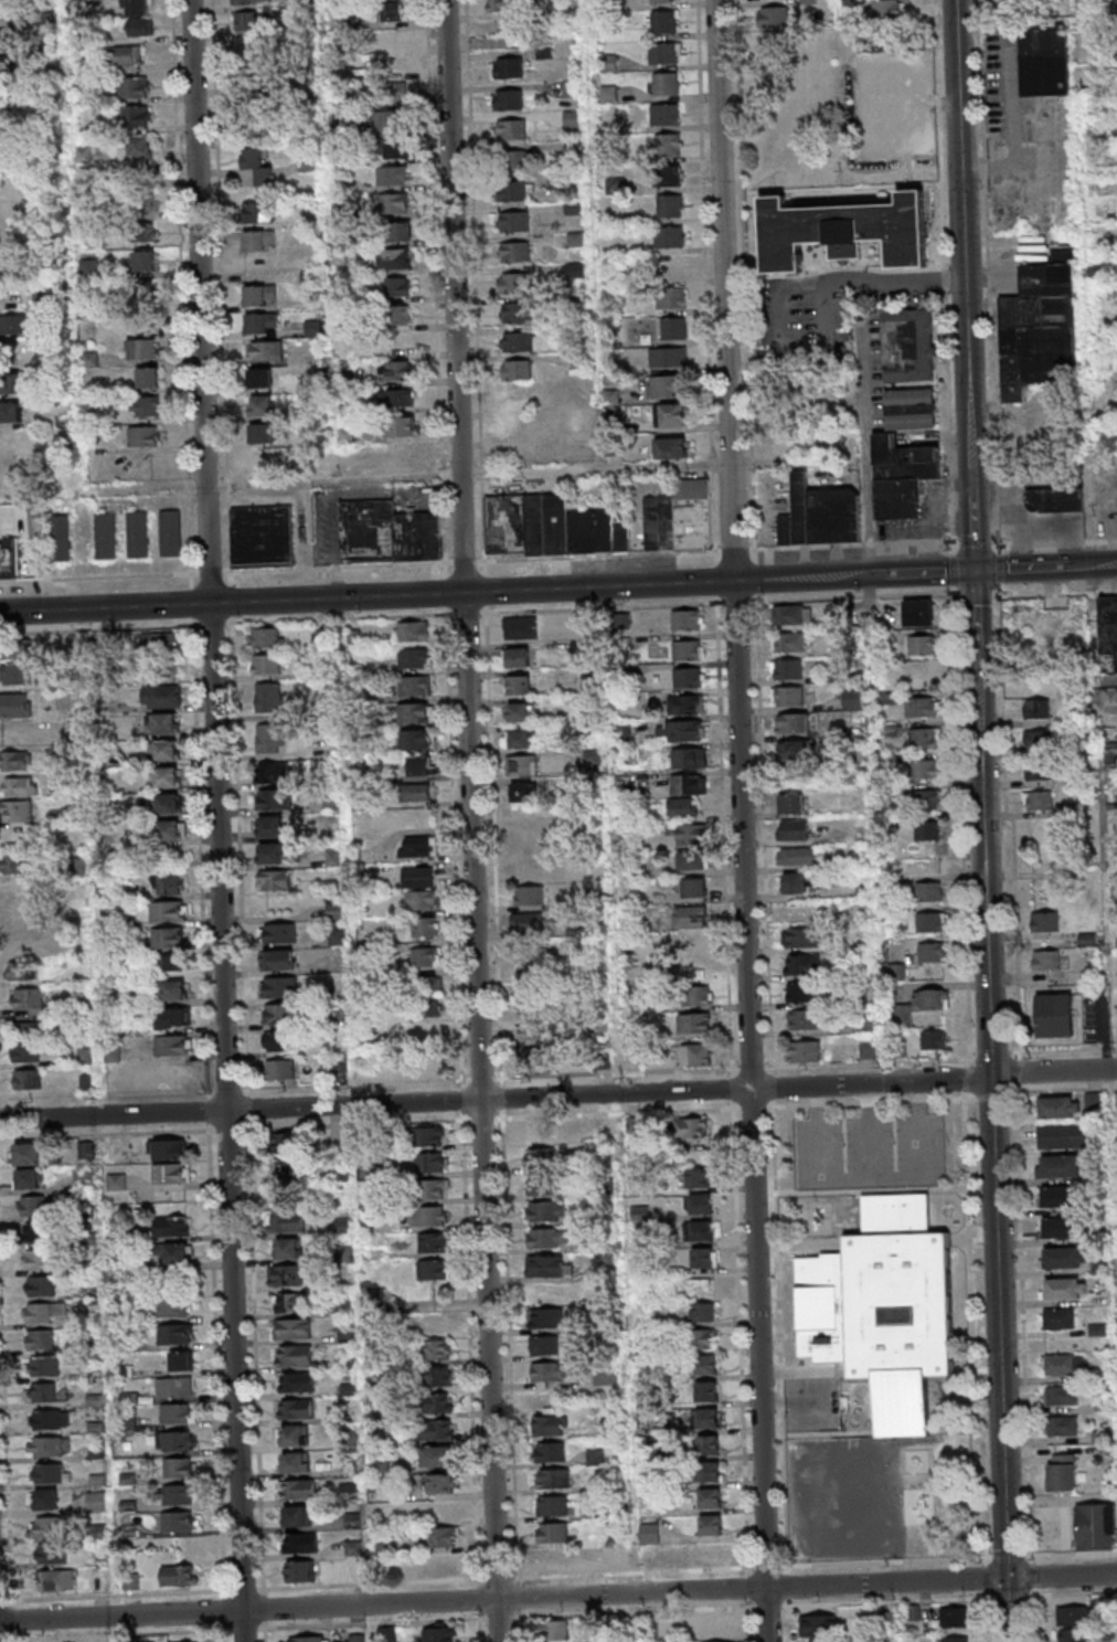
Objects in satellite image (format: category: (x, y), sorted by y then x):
building: (251, 1)
building: (661, 1)
building: (504, 4)
building: (137, 7)
building: (10, 10)
building: (889, 10)
building: (390, 11)
building: (773, 15)
building: (663, 21)
building: (248, 22)
building: (141, 27)
building: (12, 38)
building: (666, 52)
building: (126, 55)
building: (1044, 59)
building: (507, 66)
building: (11, 67)
building: (394, 67)
building: (666, 83)
building: (134, 87)
building: (256, 87)
building: (394, 91)
building: (609, 93)
building: (507, 98)
building: (667, 114)
building: (134, 117)
building: (390, 121)
building: (512, 128)
building: (259, 129)
building: (668, 145)
building: (138, 147)
building: (391, 149)
building: (518, 159)
building: (258, 167)
building: (669, 174)
building: (392, 177)
building: (515, 190)
building: (141, 199)
building: (393, 203)
building: (669, 204)
building: (259, 212)
building: (512, 220)
building: (844, 230)
building: (143, 231)
building: (400, 231)
building: (670, 235)
building: (258, 240)
building: (514, 251)
building: (394, 257)
building: (145, 262)
road: (921, 276)
building: (514, 282)
road: (224, 285)
road: (965, 285)
building: (397, 286)
building: (143, 290)
building: (260, 295)
building: (671, 296)
road: (185, 307)
building: (515, 311)
building: (401, 315)
building: (260, 324)
building: (13, 326)
building: (1041, 326)
building: (672, 327)
building: (517, 340)
building: (398, 342)
building: (908, 345)
building: (143, 350)
building: (266, 351)
building: (668, 357)
road: (808, 357)
building: (515, 369)
building: (398, 370)
building: (148, 378)
building: (260, 378)
building: (10, 383)
building: (664, 385)
building: (396, 398)
building: (262, 405)
building: (147, 406)
building: (909, 407)
building: (10, 412)
building: (673, 413)
building: (402, 426)
building: (262, 433)
building: (143, 436)
building: (788, 443)
building: (670, 447)
building: (901, 475)
building: (11, 476)
road: (435, 477)
building: (1054, 499)
building: (820, 513)
building: (680, 517)
building: (551, 526)
building: (387, 532)
building: (170, 533)
building: (138, 534)
building: (105, 536)
building: (263, 537)
building: (60, 538)
road: (1057, 541)
building: (6, 562)
road: (344, 566)
road: (1045, 568)
road: (1000, 570)
traffic signals: (974, 571)
road: (857, 575)
road: (478, 592)
road: (1060, 593)
road: (107, 607)
building: (917, 612)
building: (791, 613)
building: (688, 618)
building: (1108, 625)
building: (520, 627)
road: (124, 628)
building: (414, 631)
building: (265, 638)
building: (789, 642)
building: (922, 644)
building: (689, 648)
building: (159, 655)
building: (517, 656)
building: (414, 657)
building: (265, 665)
building: (787, 669)
building: (15, 674)
building: (689, 676)
building: (923, 676)
building: (414, 685)
building: (519, 685)
building: (788, 696)
building: (162, 698)
building: (268, 698)
building: (852, 698)
building: (1108, 699)
building: (68, 700)
building: (685, 703)
building: (15, 705)
building: (923, 707)
building: (1036, 708)
building: (519, 711)
building: (416, 712)
building: (792, 722)
building: (162, 724)
building: (681, 730)
building: (520, 738)
building: (925, 738)
building: (416, 739)
building: (1040, 739)
building: (269, 740)
building: (795, 749)
building: (166, 750)
building: (1110, 752)
building: (689, 756)
building: (593, 758)
building: (14, 760)
building: (419, 764)
building: (521, 765)
building: (924, 767)
building: (1041, 771)
building: (274, 774)
building: (164, 777)
building: (688, 783)
building: (19, 786)
building: (415, 791)
building: (521, 792)
building: (927, 798)
building: (1039, 799)
building: (273, 801)
building: (790, 803)
building: (167, 804)
building: (684, 806)
building: (15, 811)
road: (222, 820)
road: (478, 820)
road: (748, 820)
road: (982, 824)
building: (270, 828)
building: (794, 829)
building: (927, 829)
building: (170, 831)
road: (727, 831)
building: (692, 834)
building: (417, 846)
road: (353, 851)
building: (272, 854)
building: (796, 855)
building: (691, 859)
building: (14, 864)
building: (418, 877)
building: (274, 880)
building: (794, 882)
building: (169, 884)
building: (693, 887)
building: (19, 890)
building: (928, 891)
building: (529, 897)
building: (422, 899)
building: (168, 911)
building: (691, 915)
building: (930, 921)
building: (1044, 921)
building: (526, 922)
building: (425, 925)
building: (279, 934)
building: (800, 936)
building: (168, 939)
building: (694, 942)
building: (932, 952)
building: (425, 956)
building: (1046, 960)
building: (277, 961)
building: (169, 963)
building: (801, 964)
building: (897, 971)
building: (19, 972)
building: (531, 977)
building: (279, 987)
building: (171, 992)
building: (800, 992)
building: (696, 995)
building: (425, 996)
building: (26, 999)
building: (529, 1004)
building: (918, 1005)
building: (279, 1015)
building: (1054, 1015)
building: (173, 1018)
building: (805, 1019)
building: (694, 1023)
building: (31, 1030)
building: (531, 1031)
building: (934, 1039)
building: (279, 1040)
building: (172, 1045)
building: (805, 1050)
building: (24, 1052)
building: (698, 1053)
building: (280, 1068)
road: (1054, 1073)
building: (26, 1079)
road: (874, 1083)
road: (377, 1104)
building: (1060, 1106)
building: (634, 1124)
building: (604, 1126)
building: (691, 1127)
building: (538, 1132)
building: (427, 1136)
building: (1061, 1136)
building: (288, 1144)
building: (85, 1148)
building: (120, 1150)
building: (173, 1153)
building: (31, 1157)
building: (541, 1157)
building: (430, 1162)
building: (1060, 1165)
building: (287, 1169)
building: (174, 1176)
building: (84, 1178)
building: (703, 1179)
building: (32, 1182)
building: (117, 1182)
building: (547, 1186)
building: (435, 1188)
building: (1057, 1196)
building: (705, 1206)
building: (38, 1208)
building: (547, 1211)
building: (430, 1215)
building: (287, 1222)
building: (1059, 1227)
building: (181, 1229)
building: (706, 1235)
building: (42, 1236)
building: (547, 1239)
building: (433, 1241)
building: (288, 1249)
building: (178, 1257)
building: (1064, 1257)
building: (708, 1260)
building: (45, 1261)
building: (546, 1265)
building: (433, 1269)
building: (292, 1279)
building: (1064, 1288)
building: (45, 1289)
building: (376, 1297)
building: (290, 1302)
building: (884, 1309)
building: (178, 1310)
building: (708, 1313)
building: (43, 1315)
building: (546, 1317)
building: (1059, 1317)
road: (1000, 1327)
building: (294, 1328)
building: (179, 1336)
building: (705, 1341)
building: (43, 1342)
building: (543, 1344)
building: (438, 1348)
building: (294, 1355)
building: (182, 1362)
building: (1062, 1364)
building: (711, 1367)
building: (50, 1369)
building: (549, 1370)
building: (438, 1375)
road: (784, 1375)
building: (606, 1377)
building: (295, 1381)
building: (179, 1390)
building: (711, 1392)
building: (46, 1395)
building: (1061, 1395)
building: (439, 1402)
building: (297, 1409)
building: (179, 1417)
building: (51, 1420)
building: (712, 1420)
building: (550, 1424)
building: (1062, 1424)
building: (437, 1430)
building: (296, 1436)
building: (180, 1443)
building: (713, 1448)
building: (51, 1450)
building: (550, 1451)
building: (437, 1455)
building: (296, 1463)
building: (181, 1471)
building: (1062, 1472)
building: (714, 1474)
building: (52, 1475)
building: (554, 1477)
building: (440, 1483)
building: (299, 1491)
building: (349, 1492)
building: (45, 1498)
building: (181, 1498)
building: (715, 1502)
building: (553, 1506)
building: (443, 1511)
building: (297, 1517)
building: (182, 1525)
building: (1095, 1526)
building: (715, 1527)
building: (52, 1528)
building: (649, 1532)
building: (553, 1534)
building: (442, 1537)
building: (301, 1544)
building: (50, 1554)
building: (711, 1556)
building: (554, 1559)
building: (442, 1565)
building: (299, 1571)
building: (179, 1575)
traffic signals: (1009, 1578)
building: (56, 1579)
building: (130, 1582)
road: (168, 1593)
road: (557, 1596)
road: (8, 1600)
road: (482, 1610)
road: (1009, 1610)
building: (1074, 1615)
building: (953, 1617)
building: (818, 1624)
building: (653, 1625)
building: (721, 1625)
road: (255, 1629)
building: (557, 1632)
building: (386, 1634)
building: (439, 1634)
building: (1075, 1635)
road: (230, 1636)
building: (309, 1639)
building: (956, 1639)
building: (821, 1640)

